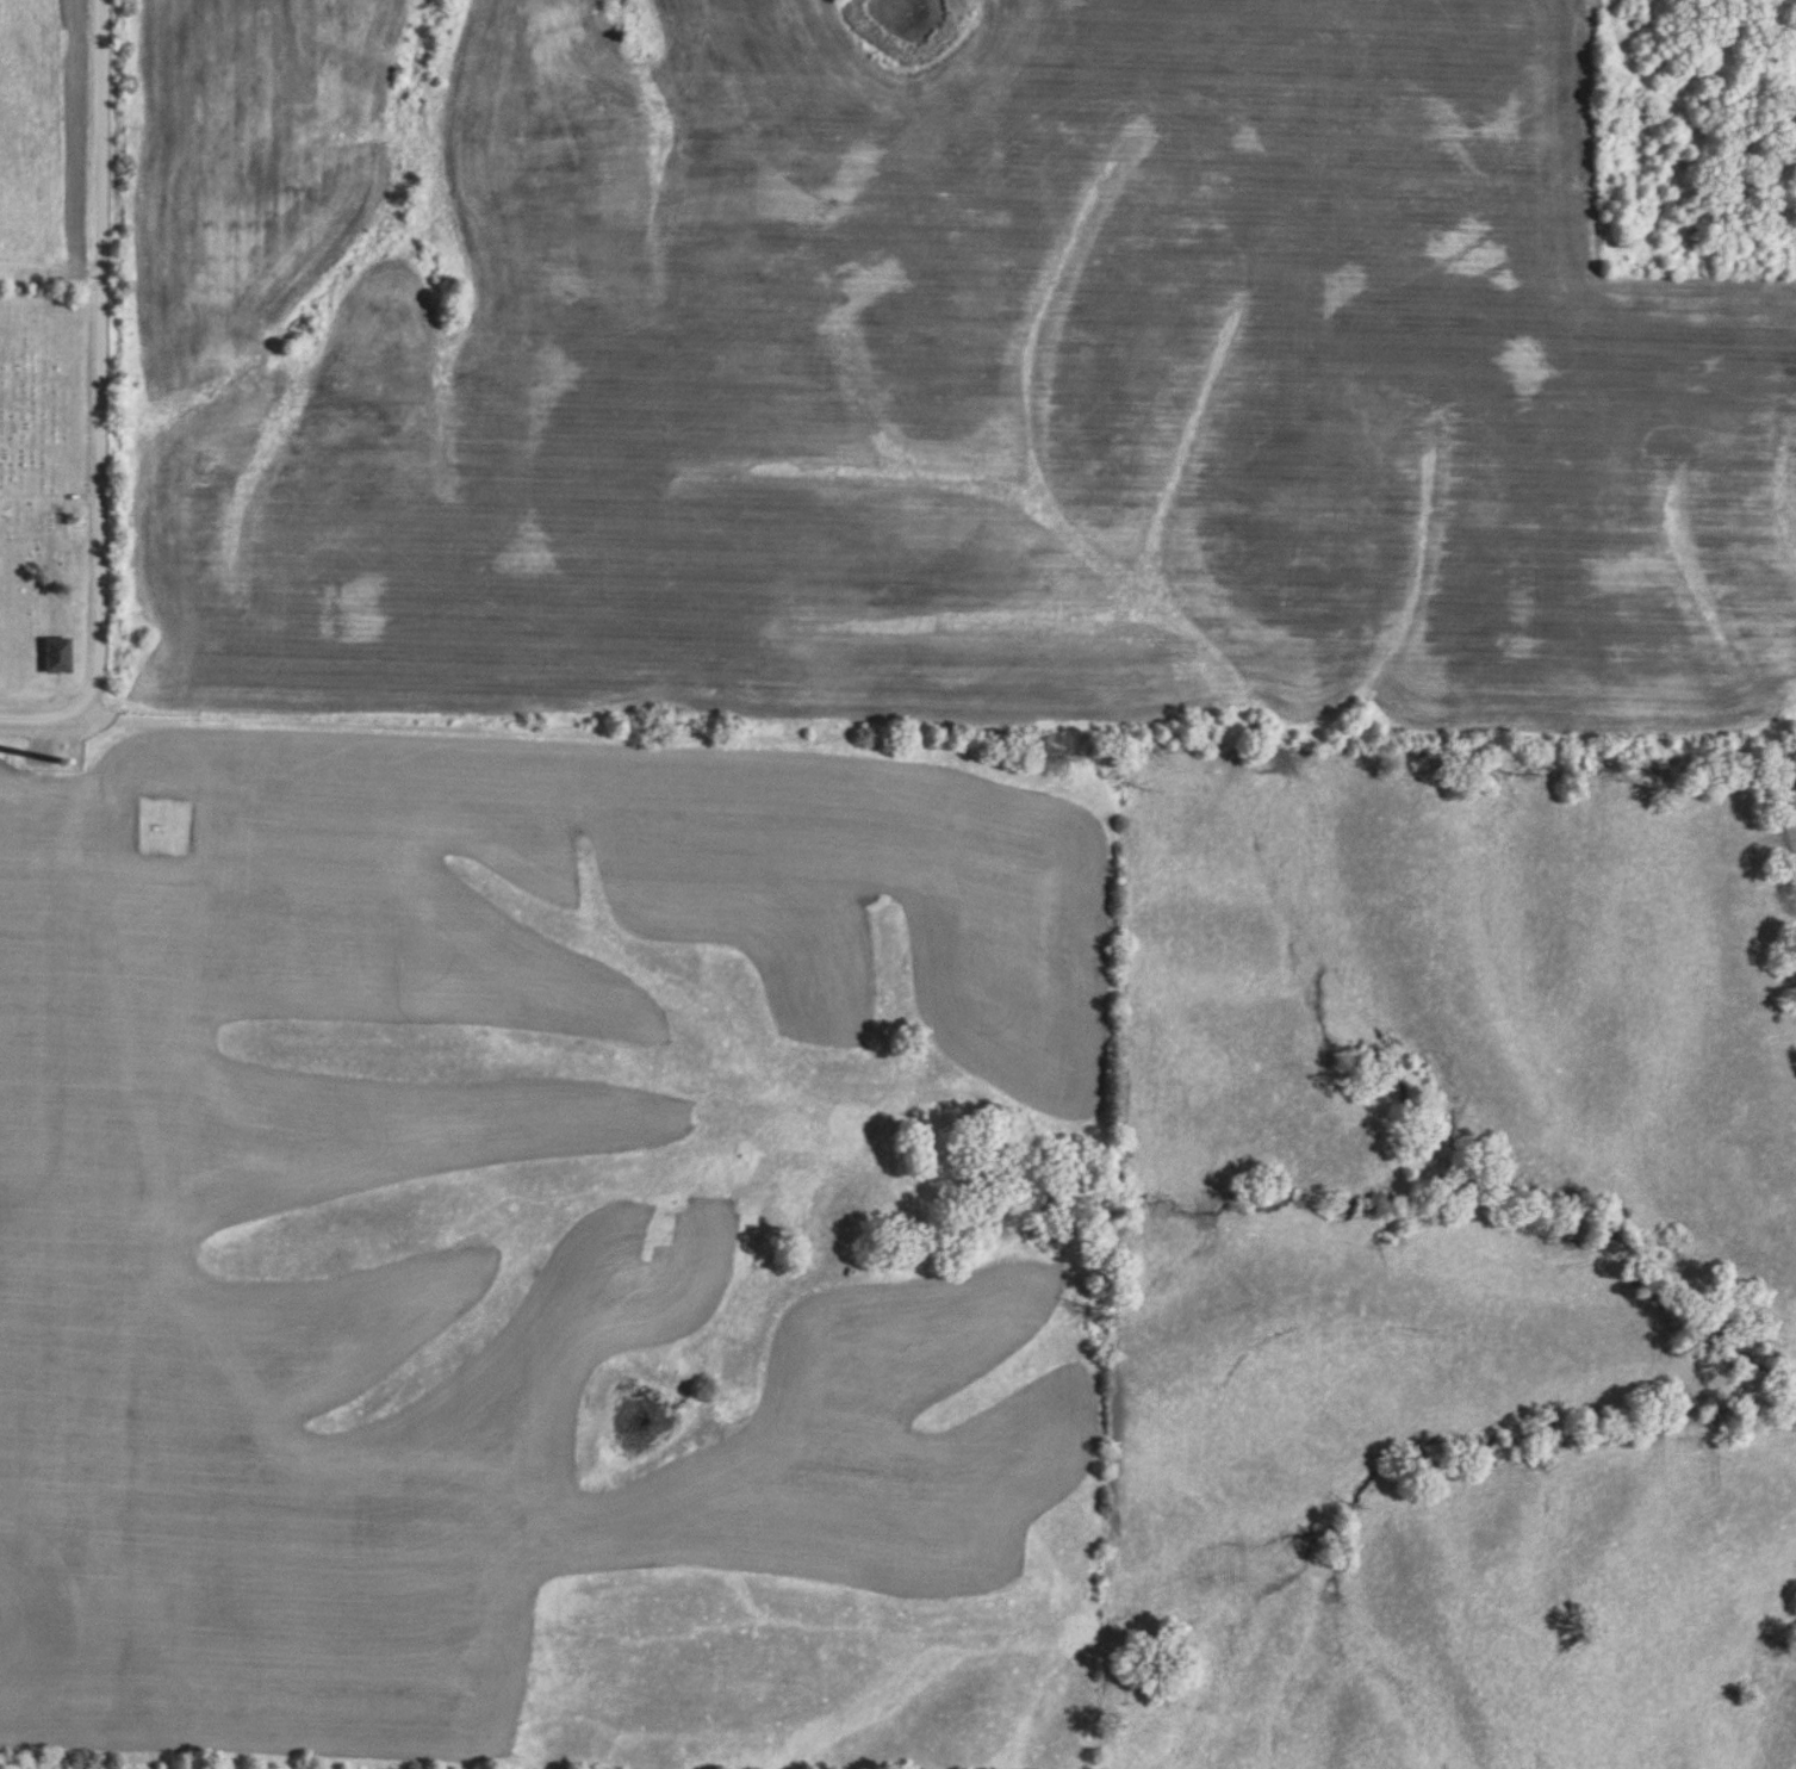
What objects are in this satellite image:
road: (101, 399)
park: (42, 486)
building: (61, 656)

